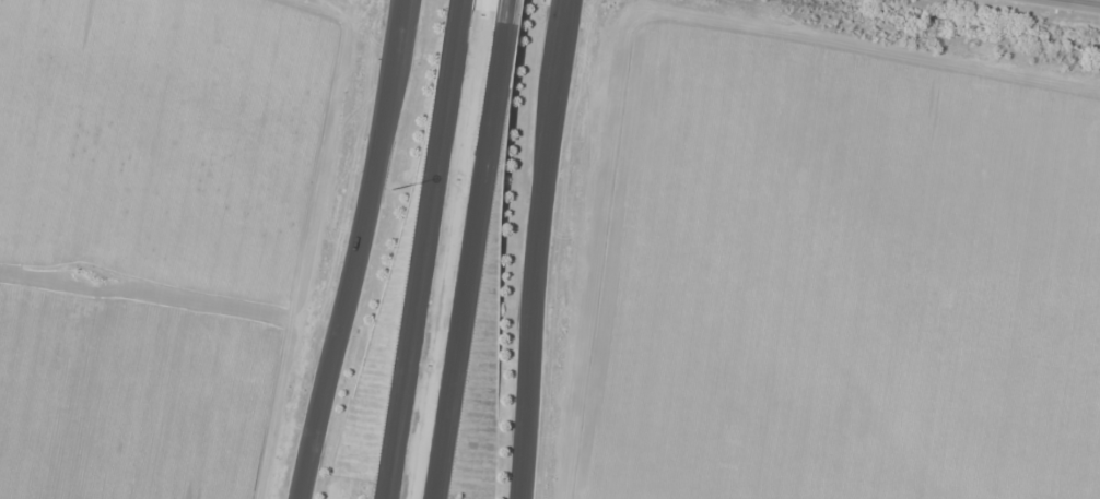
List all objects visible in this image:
road: (512, 0)
road: (531, 248)
road: (350, 249)
road: (424, 249)
road: (476, 250)

